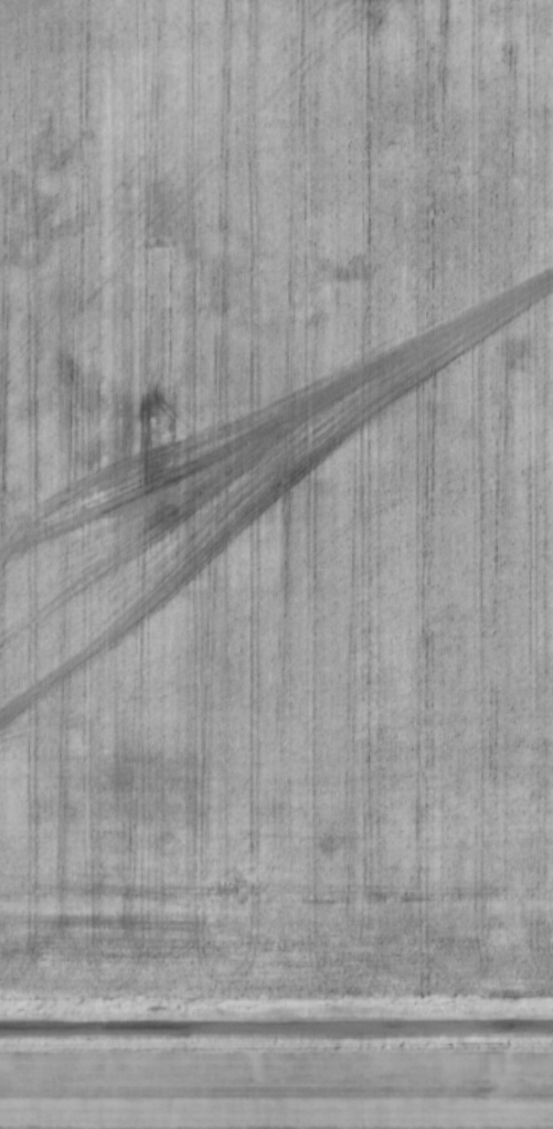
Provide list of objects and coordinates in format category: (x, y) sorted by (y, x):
road: (276, 1029)

